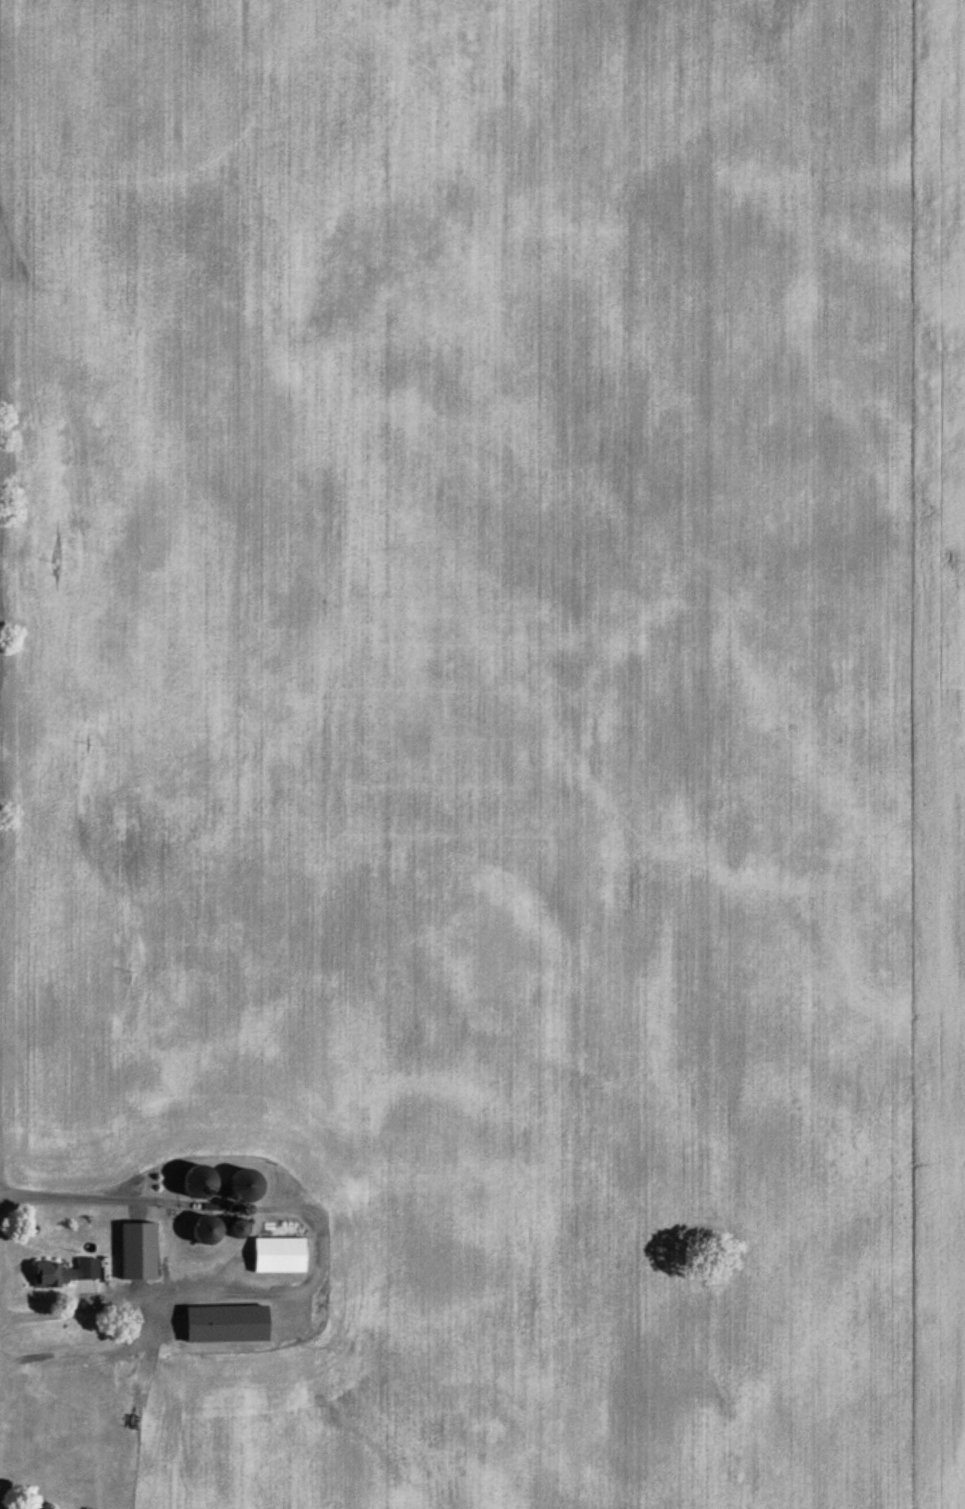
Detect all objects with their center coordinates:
building: (191, 1185)
building: (237, 1187)
road: (96, 1200)
building: (231, 1232)
building: (202, 1233)
building: (135, 1254)
building: (275, 1259)
building: (61, 1277)
road: (188, 1291)
road: (88, 1307)
building: (221, 1328)

